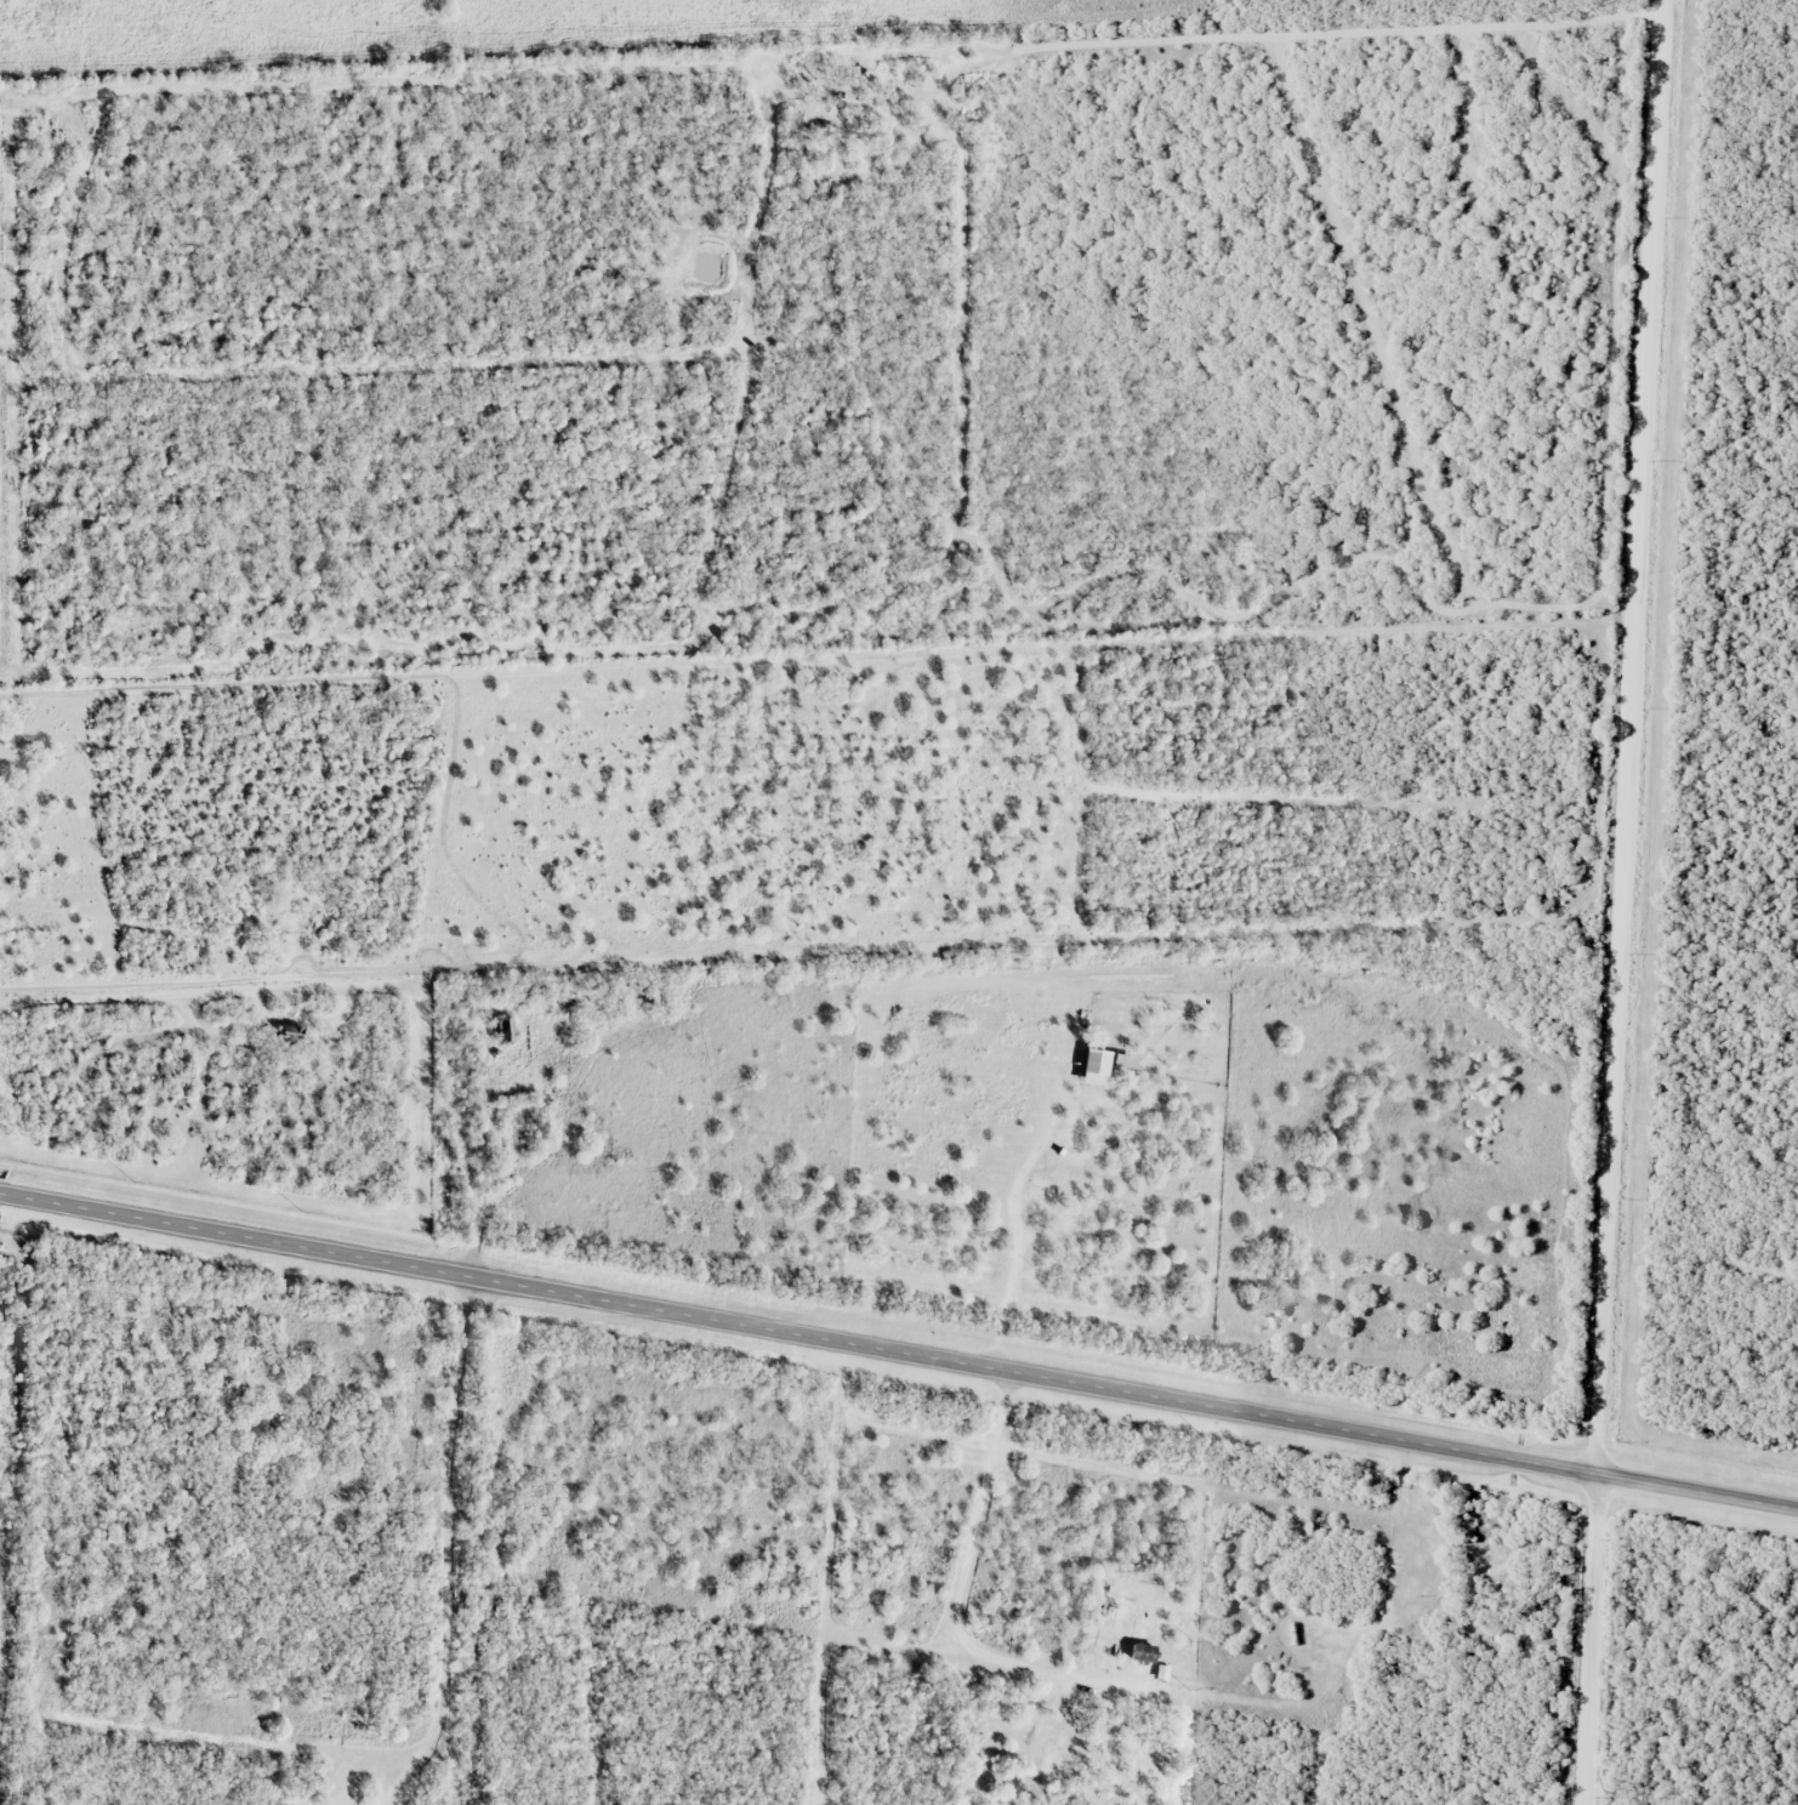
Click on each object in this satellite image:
road: (1621, 903)
building: (507, 1029)
building: (1036, 1195)
road: (899, 1350)

